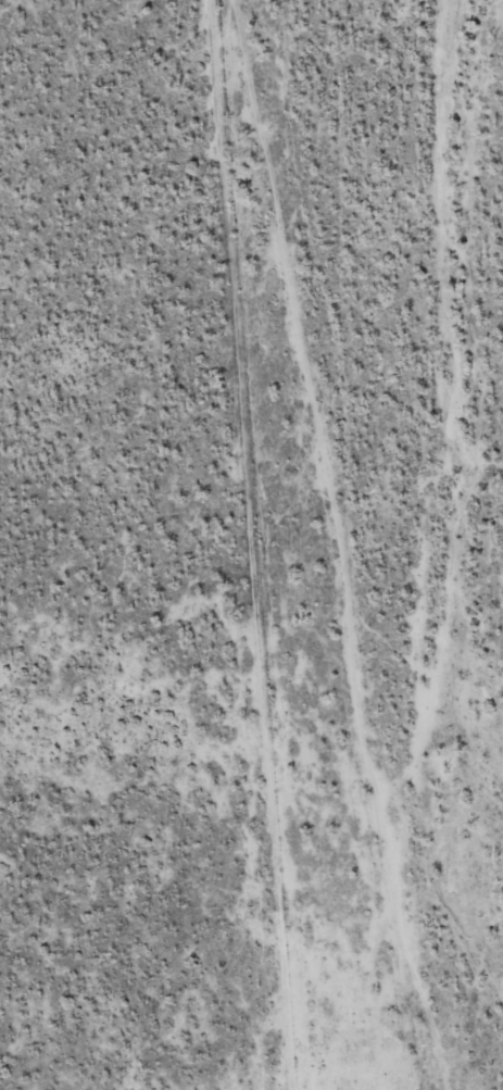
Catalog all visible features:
road: (328, 546)

